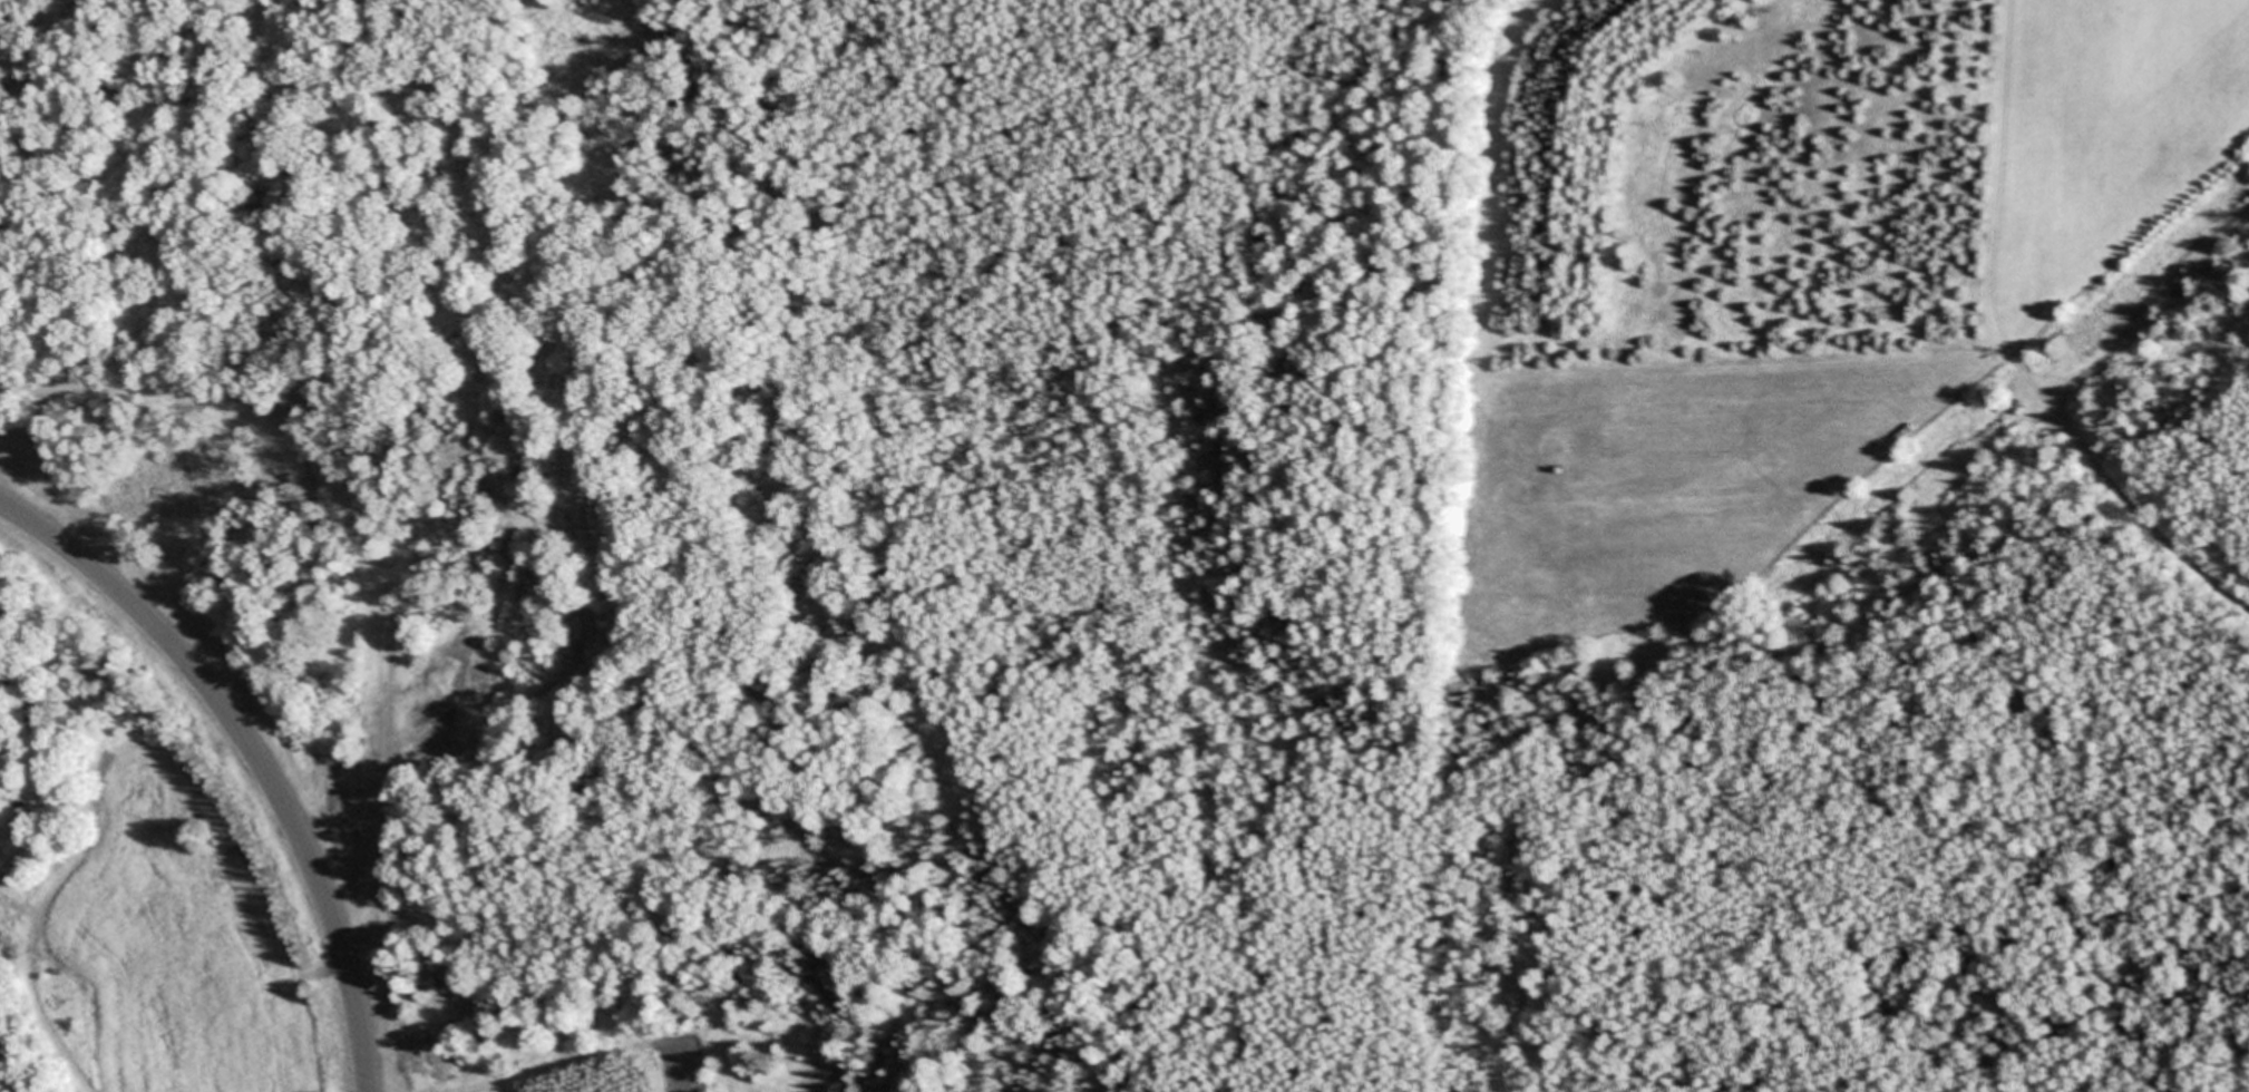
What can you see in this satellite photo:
building: (581, 628)
road: (257, 750)

